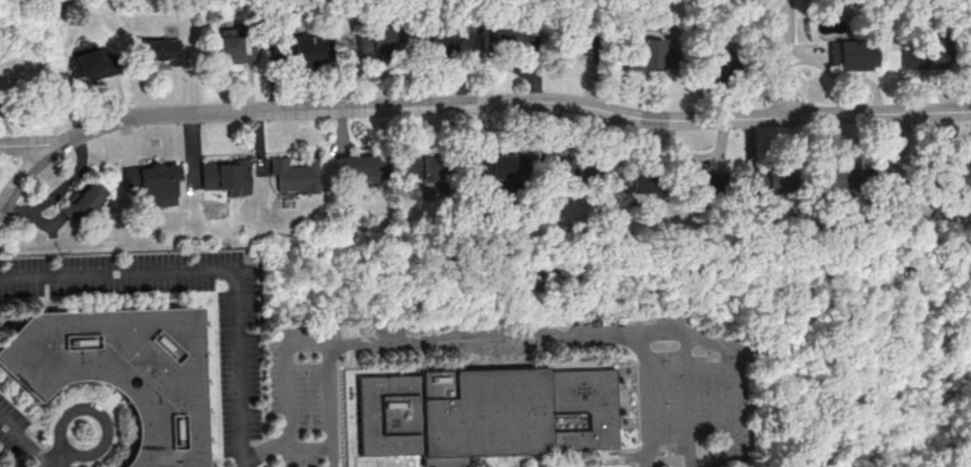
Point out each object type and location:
building: (382, 35)
building: (506, 36)
building: (440, 39)
building: (969, 42)
building: (307, 48)
building: (162, 50)
building: (230, 50)
building: (852, 54)
building: (923, 54)
road: (786, 58)
building: (713, 61)
building: (91, 63)
road: (483, 101)
building: (0, 107)
building: (422, 165)
building: (497, 165)
building: (572, 166)
road: (898, 167)
building: (358, 168)
road: (27, 170)
building: (962, 173)
building: (293, 174)
building: (225, 176)
building: (749, 177)
building: (836, 177)
building: (777, 180)
building: (635, 181)
building: (706, 181)
building: (152, 183)
building: (82, 200)
road: (214, 272)
road: (456, 341)
road: (918, 343)
road: (728, 368)
building: (118, 372)
road: (848, 375)
road: (688, 400)
road: (333, 406)
building: (484, 413)
road: (25, 443)
road: (305, 445)
road: (76, 451)
road: (64, 458)
building: (442, 462)

